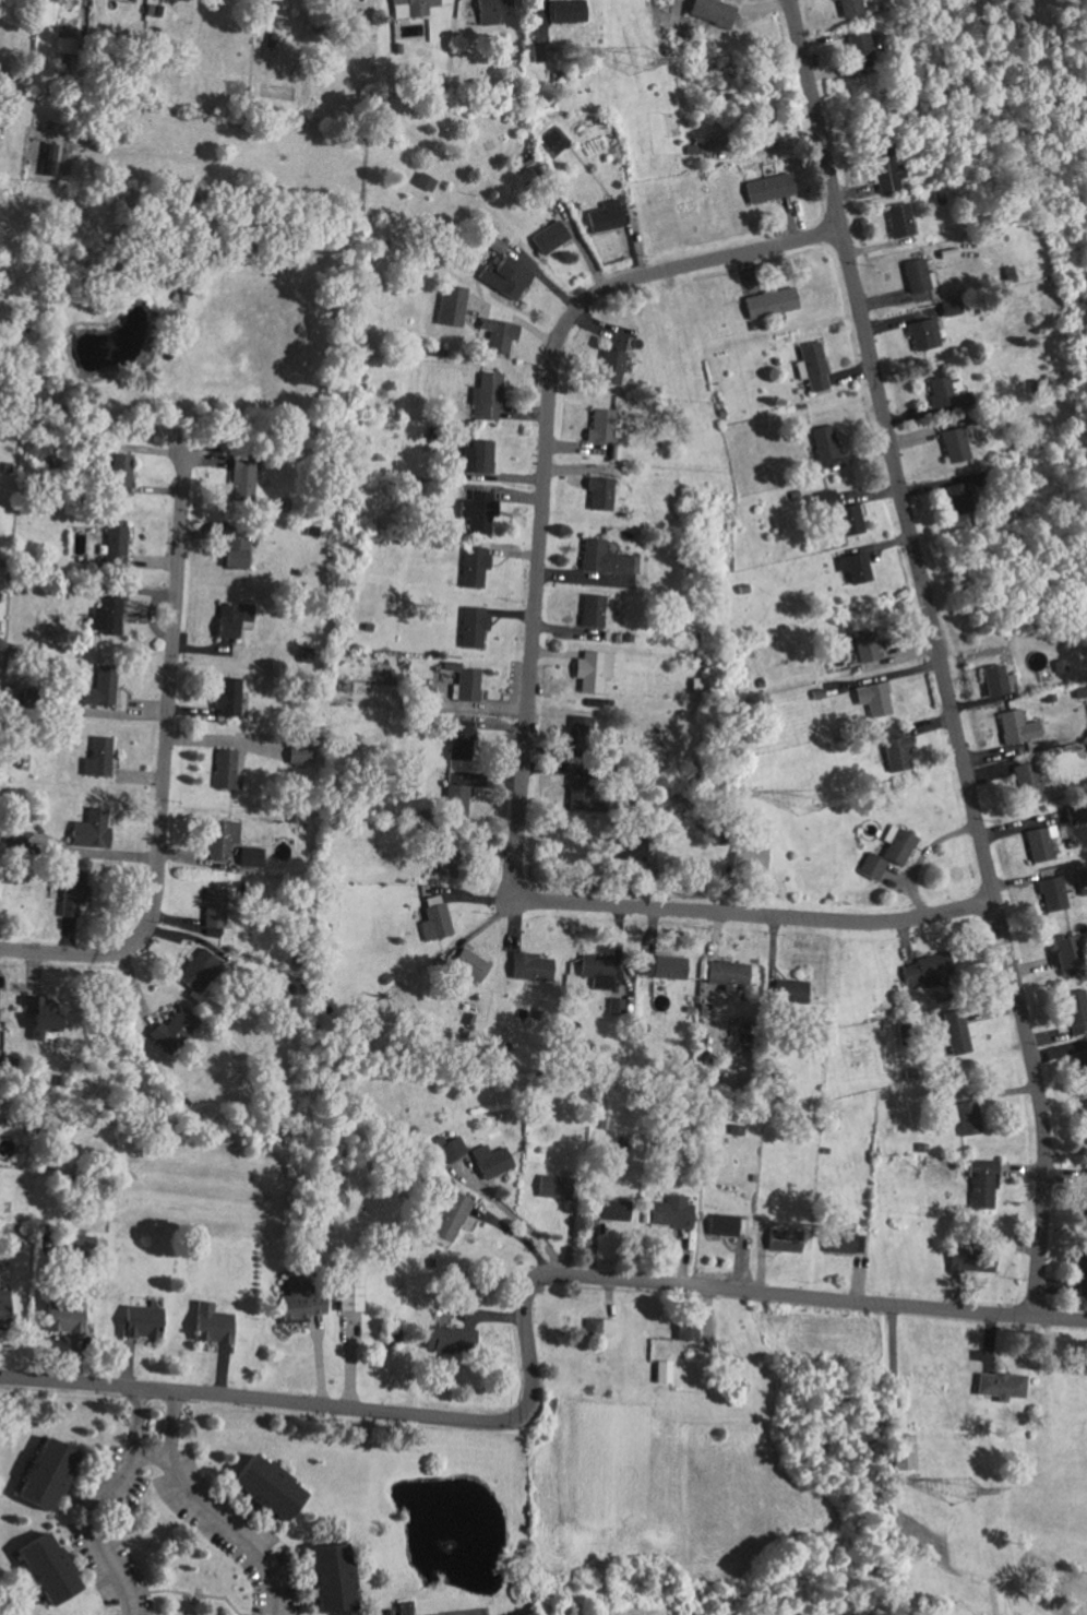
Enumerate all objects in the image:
building: (410, 7)
building: (848, 8)
building: (490, 10)
building: (565, 10)
building: (715, 12)
building: (540, 51)
building: (859, 51)
power tower: (638, 59)
building: (760, 131)
building: (554, 138)
building: (46, 157)
building: (884, 170)
building: (422, 180)
building: (767, 187)
building: (604, 215)
building: (897, 218)
building: (548, 236)
building: (916, 275)
building: (504, 276)
building: (768, 301)
building: (450, 305)
building: (949, 308)
building: (922, 333)
building: (497, 334)
building: (616, 344)
building: (609, 366)
building: (813, 366)
building: (945, 391)
building: (486, 395)
building: (599, 425)
building: (823, 441)
building: (953, 444)
building: (478, 455)
building: (121, 472)
building: (240, 477)
building: (599, 492)
building: (956, 497)
building: (477, 510)
building: (850, 519)
building: (115, 543)
building: (235, 551)
building: (604, 558)
building: (473, 565)
building: (851, 568)
building: (592, 609)
building: (106, 613)
building: (231, 618)
building: (471, 626)
building: (863, 646)
road: (937, 655)
building: (590, 669)
building: (995, 680)
building: (467, 685)
building: (1079, 692)
building: (226, 697)
building: (871, 698)
road: (526, 702)
building: (1015, 726)
building: (577, 729)
building: (459, 743)
building: (894, 749)
building: (298, 755)
building: (97, 757)
road: (163, 764)
building: (224, 769)
building: (1027, 783)
building: (455, 800)
power tower: (805, 803)
building: (1074, 814)
building: (89, 829)
building: (222, 839)
building: (10, 841)
building: (1038, 843)
building: (633, 848)
building: (886, 853)
building: (249, 856)
building: (748, 857)
building: (444, 858)
building: (71, 891)
building: (1050, 893)
building: (213, 906)
building: (433, 922)
building: (1064, 951)
building: (468, 964)
building: (528, 966)
building: (660, 966)
building: (198, 970)
building: (925, 970)
building: (596, 971)
building: (726, 973)
building: (1075, 1011)
building: (39, 1017)
building: (170, 1030)
building: (956, 1032)
building: (966, 1117)
building: (1086, 1123)
building: (492, 1163)
building: (981, 1184)
building: (552, 1186)
building: (1085, 1186)
building: (611, 1209)
building: (670, 1211)
building: (450, 1216)
road: (521, 1223)
building: (725, 1224)
building: (783, 1240)
building: (843, 1243)
building: (85, 1245)
building: (970, 1260)
building: (1080, 1273)
building: (348, 1294)
building: (297, 1302)
building: (2, 1307)
building: (61, 1318)
building: (140, 1321)
building: (210, 1325)
building: (686, 1326)
building: (592, 1327)
road: (526, 1333)
building: (447, 1339)
road: (1065, 1342)
building: (661, 1371)
building: (1000, 1386)
building: (901, 1451)
road: (151, 1453)
building: (44, 1472)
building: (265, 1485)
power tower: (961, 1492)
road: (103, 1504)
road: (215, 1506)
building: (45, 1566)
building: (330, 1575)
road: (210, 1594)
park: (466, 1612)
building: (405, 1614)

